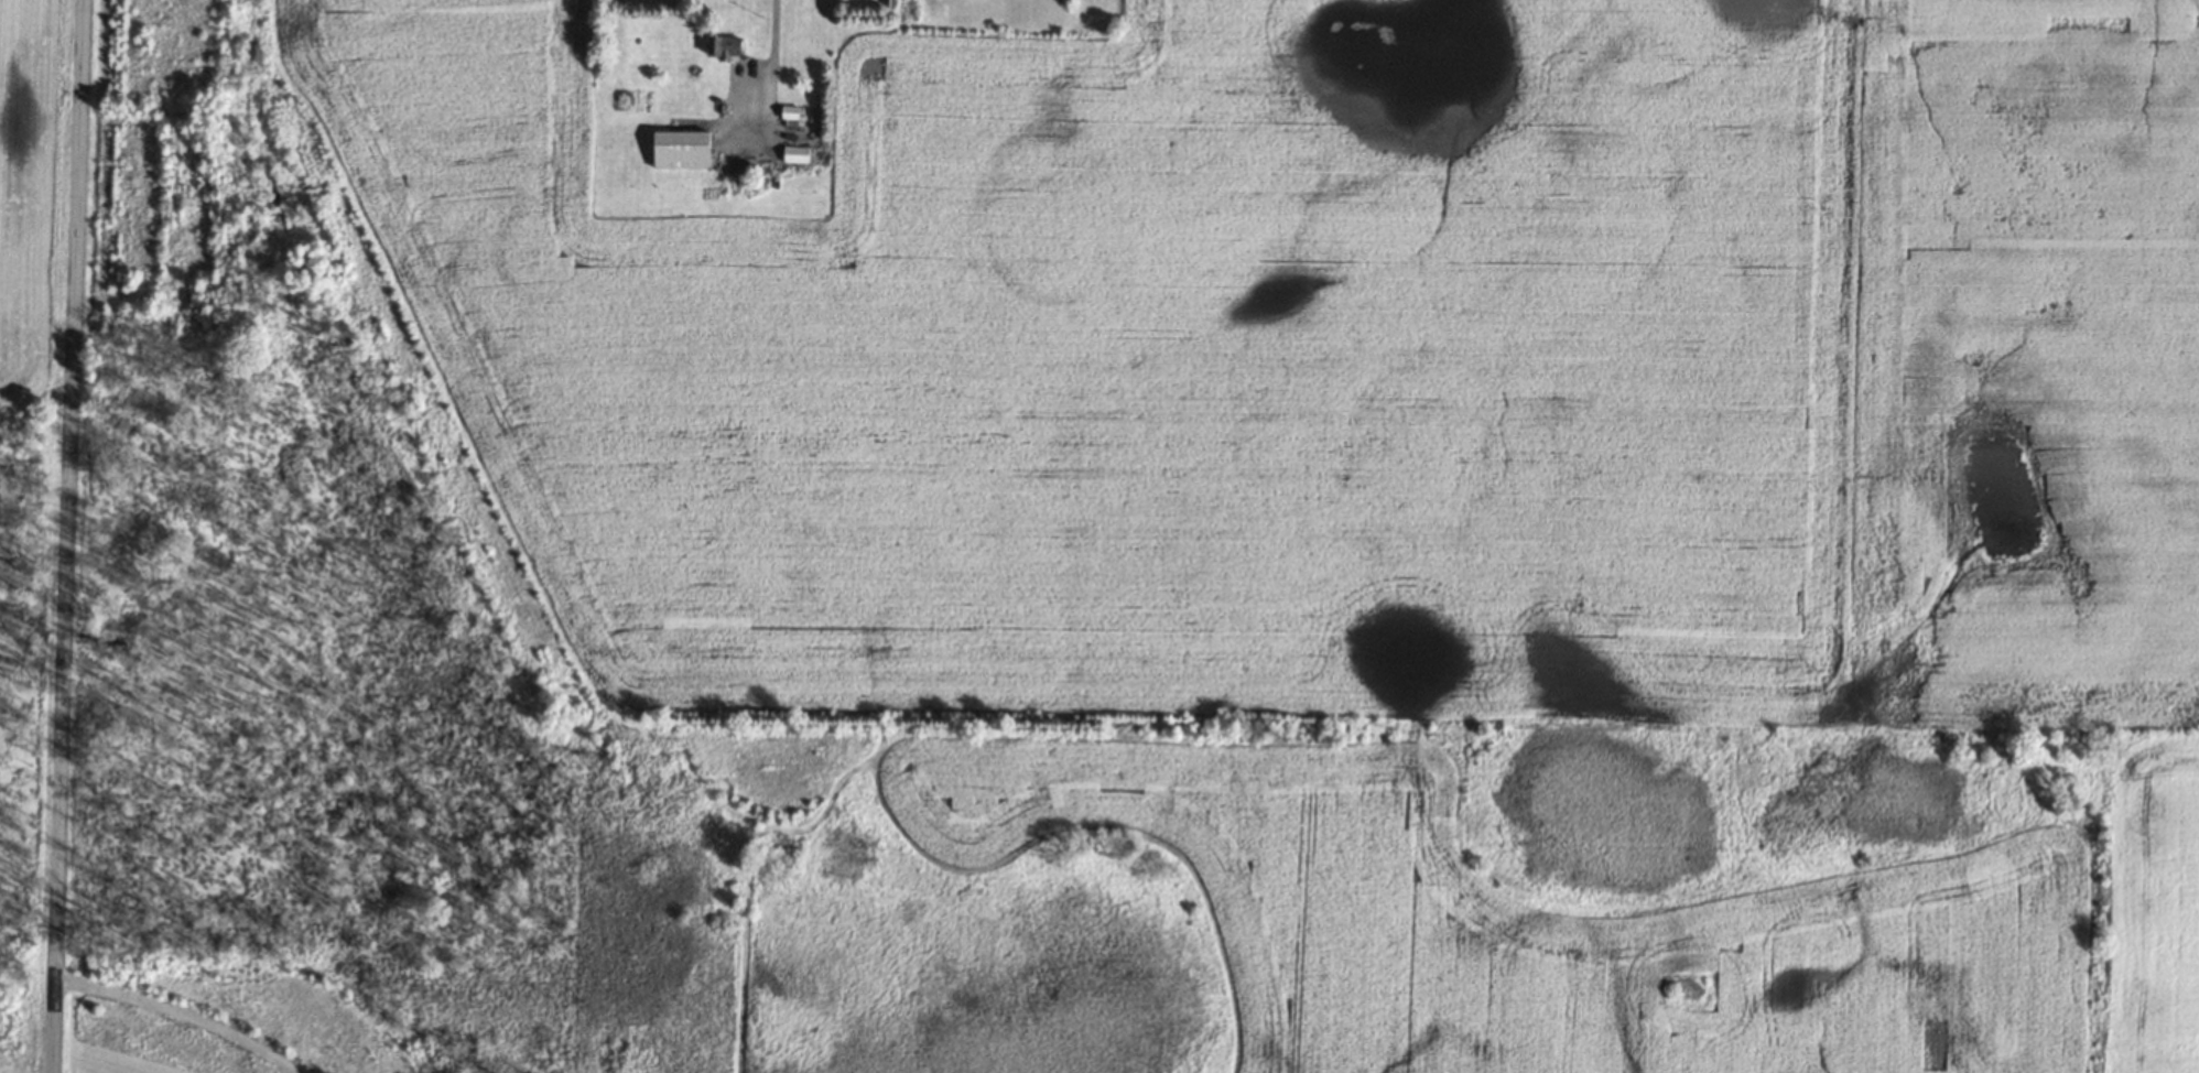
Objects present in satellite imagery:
building: (724, 43)
road: (769, 64)
building: (681, 148)
road: (66, 535)
road: (181, 1011)

